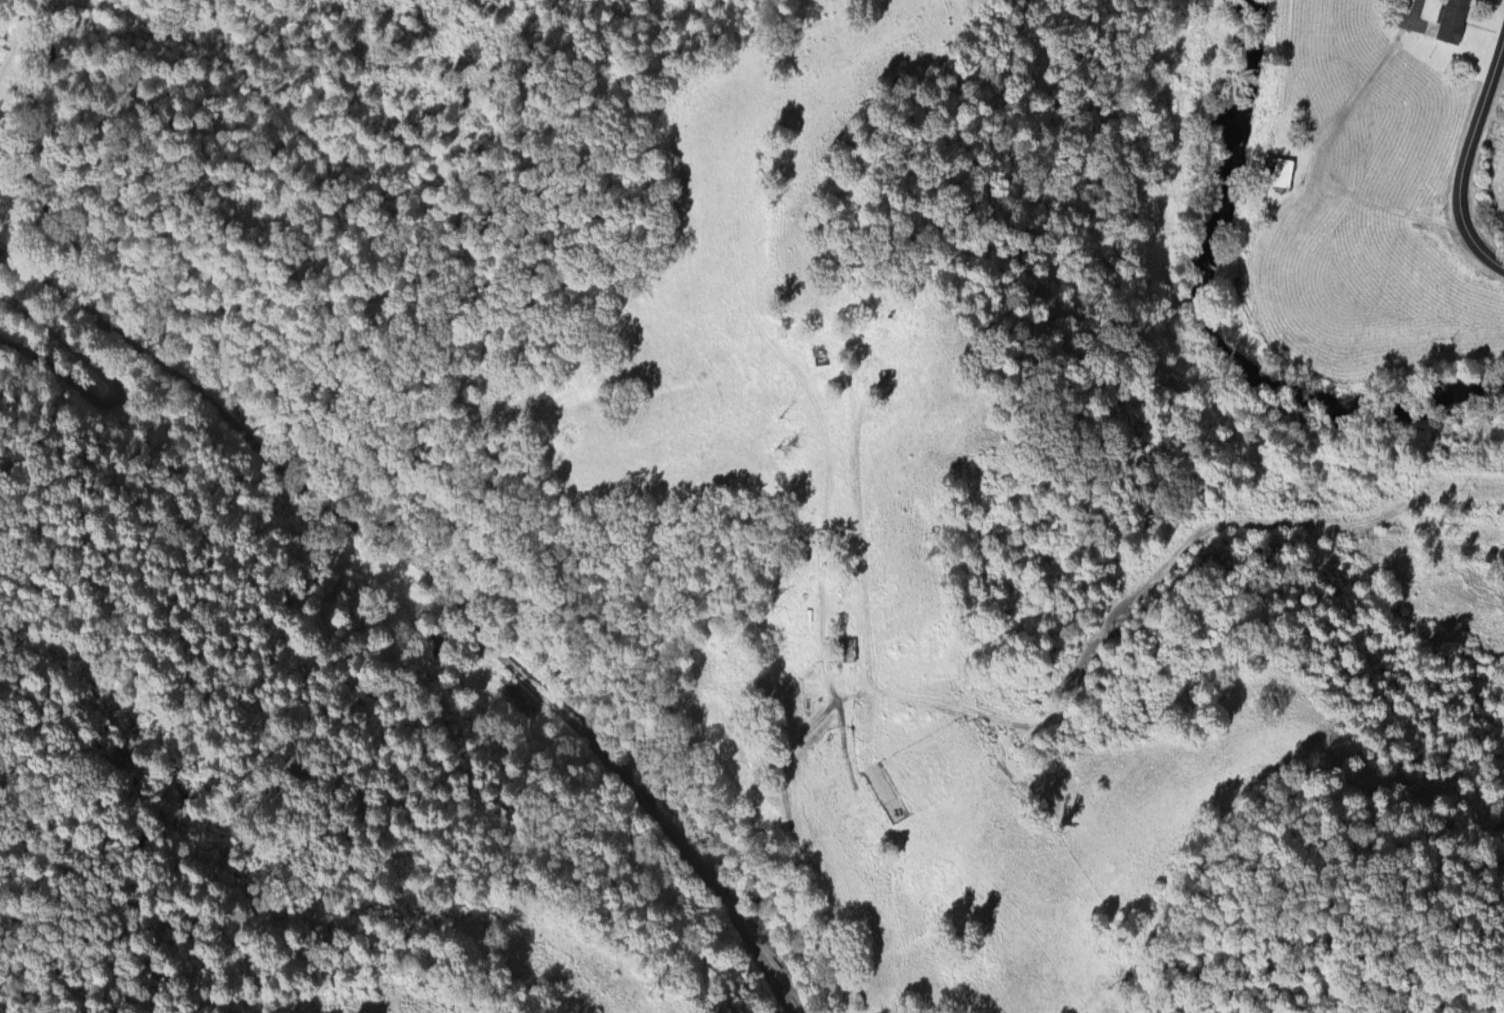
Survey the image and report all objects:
road: (1414, 9)
building: (1453, 19)
road: (1468, 156)
road: (1319, 162)
building: (1279, 172)
river: (1242, 308)
building: (816, 350)
road: (110, 385)
road: (823, 514)
road: (1153, 575)
road: (442, 583)
building: (845, 647)
building: (522, 694)
park: (784, 697)
road: (798, 845)
road: (797, 991)

